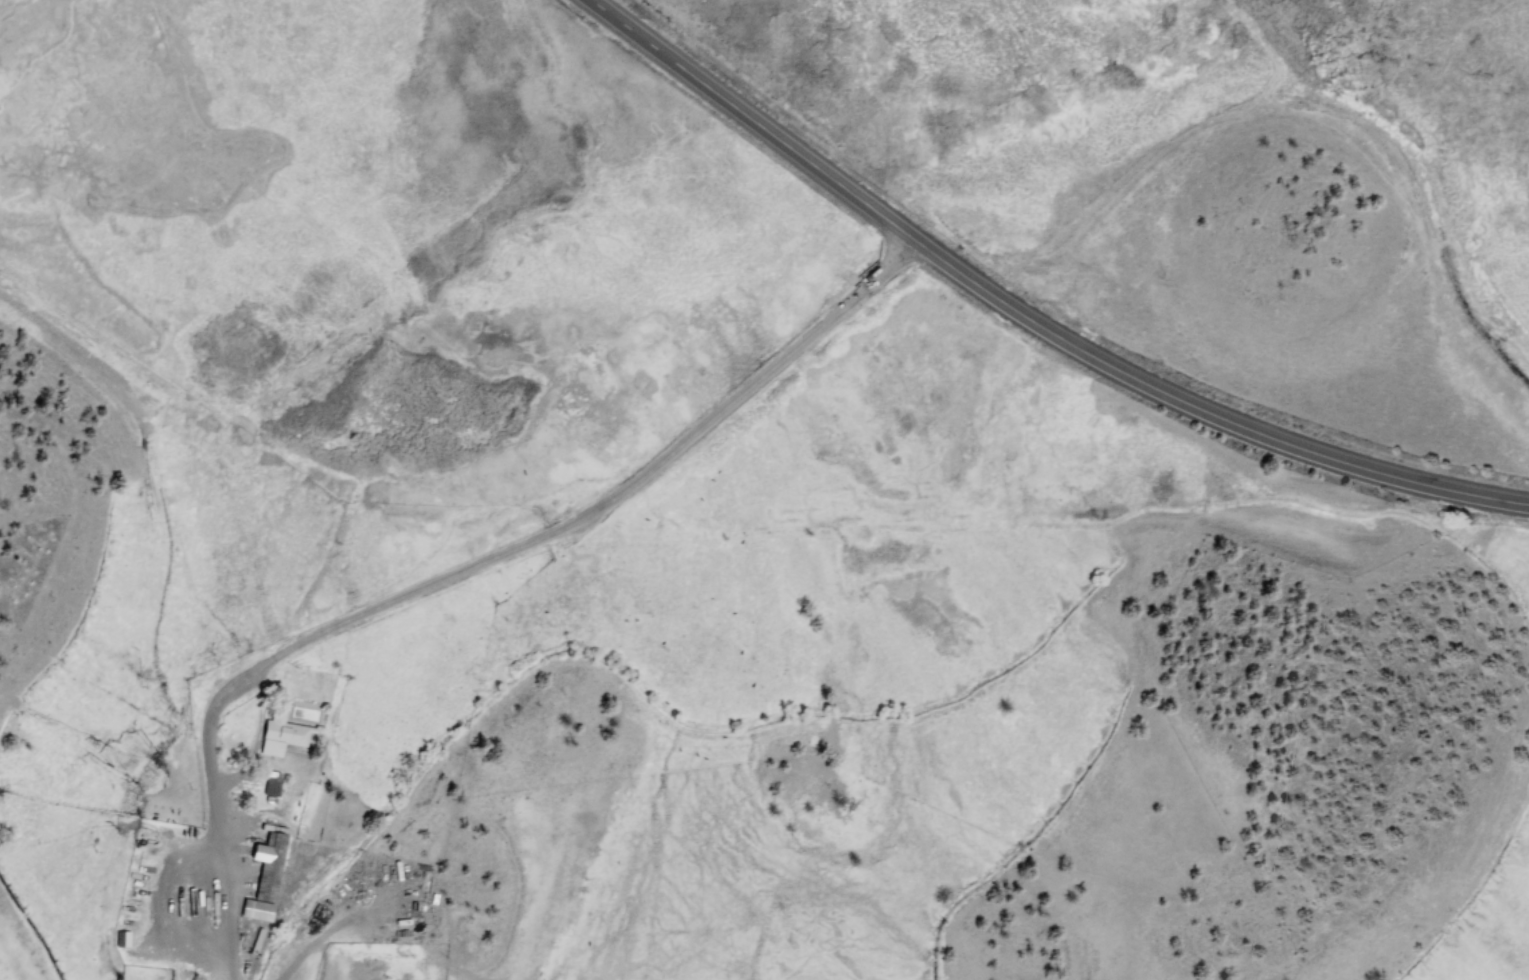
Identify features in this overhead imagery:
road: (1027, 316)
road: (107, 369)
road: (173, 529)
road: (461, 567)
building: (291, 726)
building: (273, 787)
building: (267, 875)
building: (123, 939)

